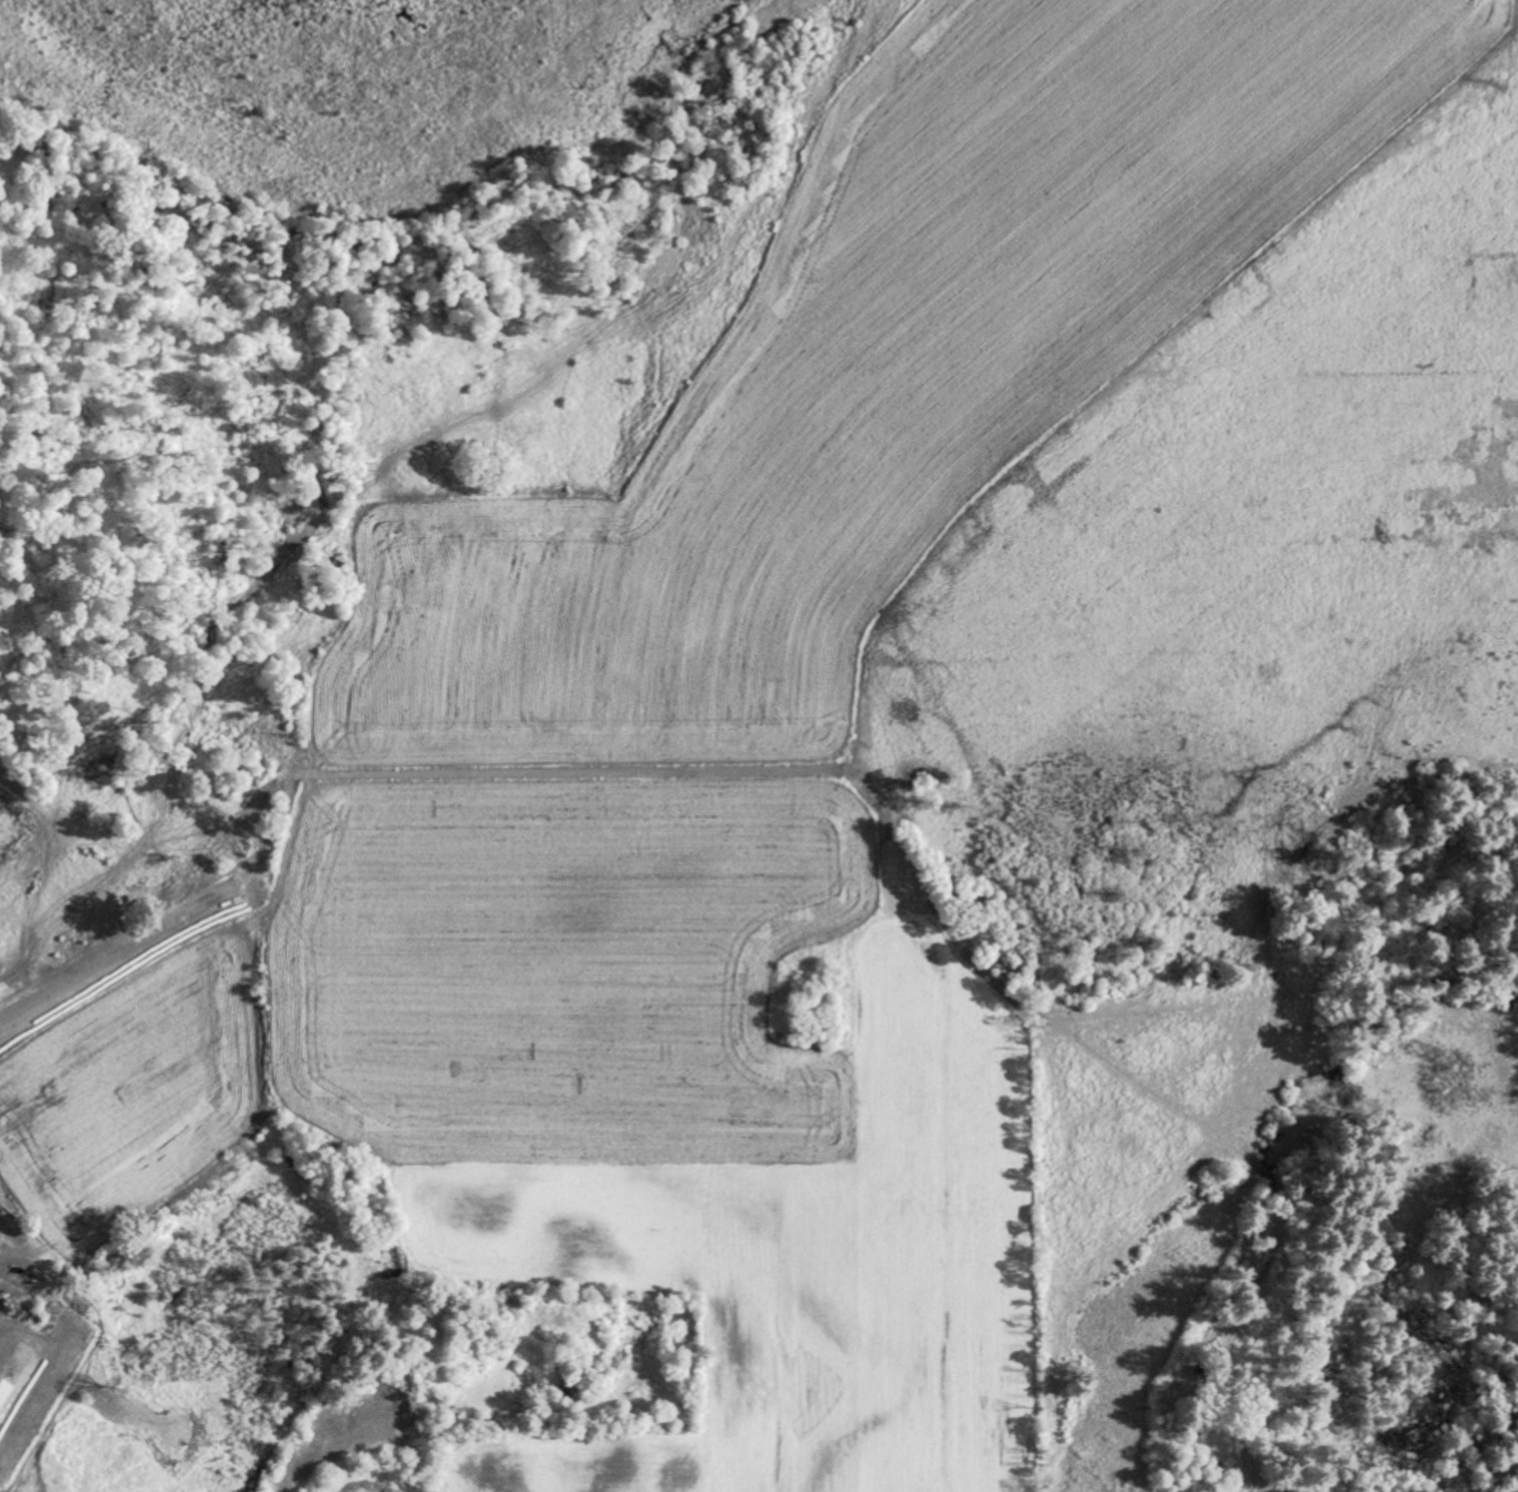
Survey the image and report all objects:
building: (5, 1392)

